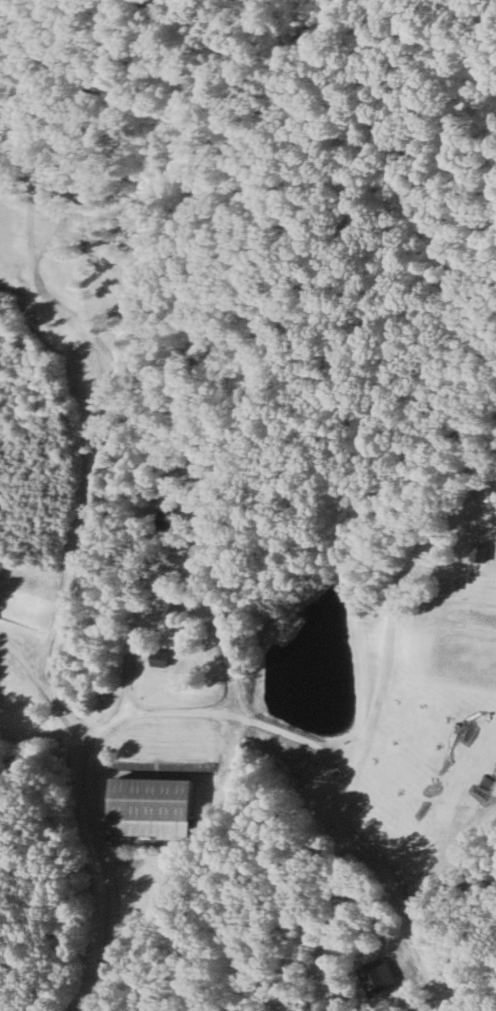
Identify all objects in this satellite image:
building: (489, 489)
building: (160, 515)
building: (477, 551)
building: (167, 608)
building: (158, 657)
road: (46, 689)
road: (146, 714)
building: (151, 806)
road: (453, 848)
road: (415, 945)
building: (377, 976)

